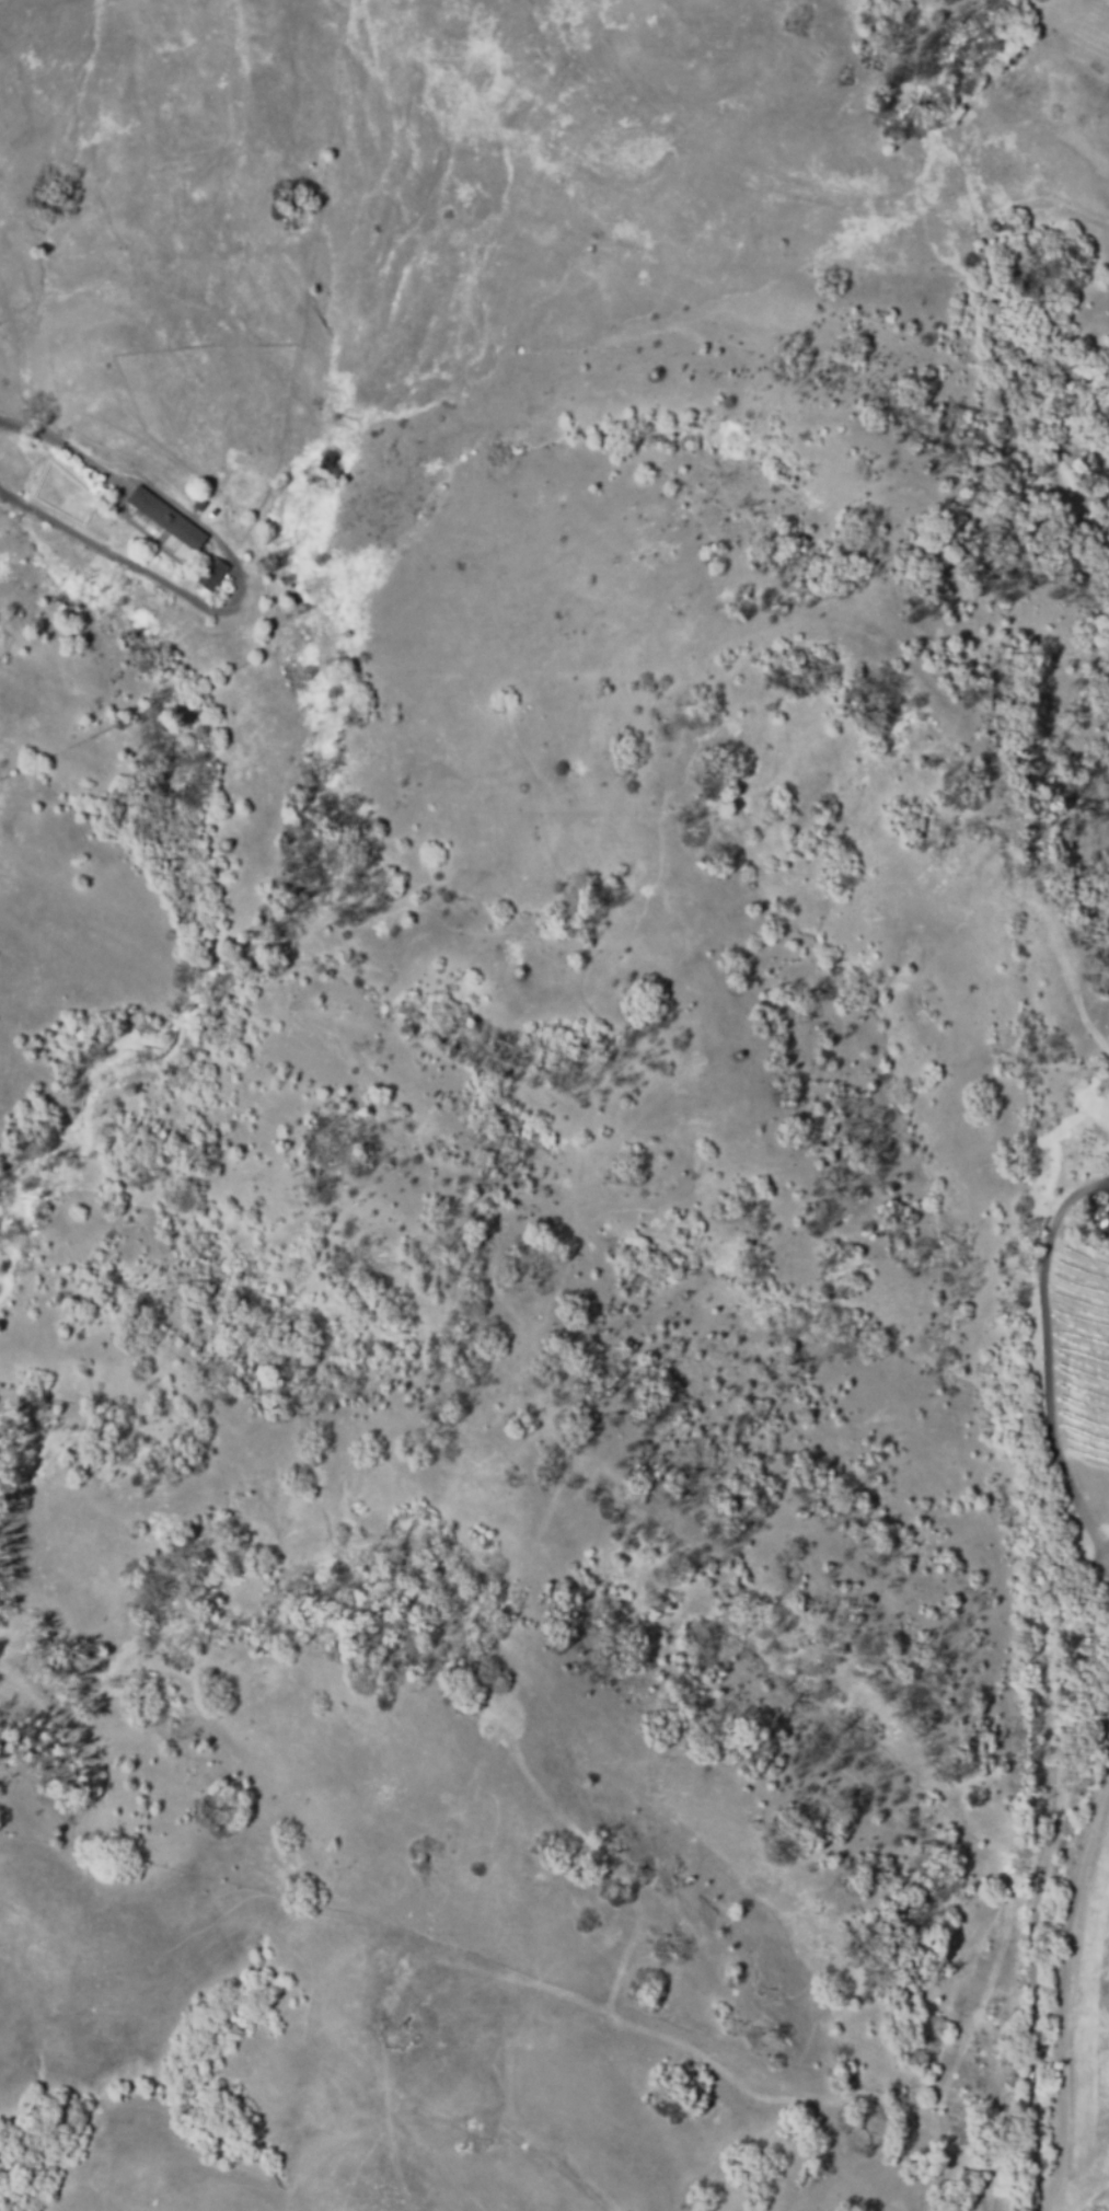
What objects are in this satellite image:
building: (165, 517)
building: (211, 574)
road: (236, 576)
road: (1051, 1357)
road: (1062, 1965)

